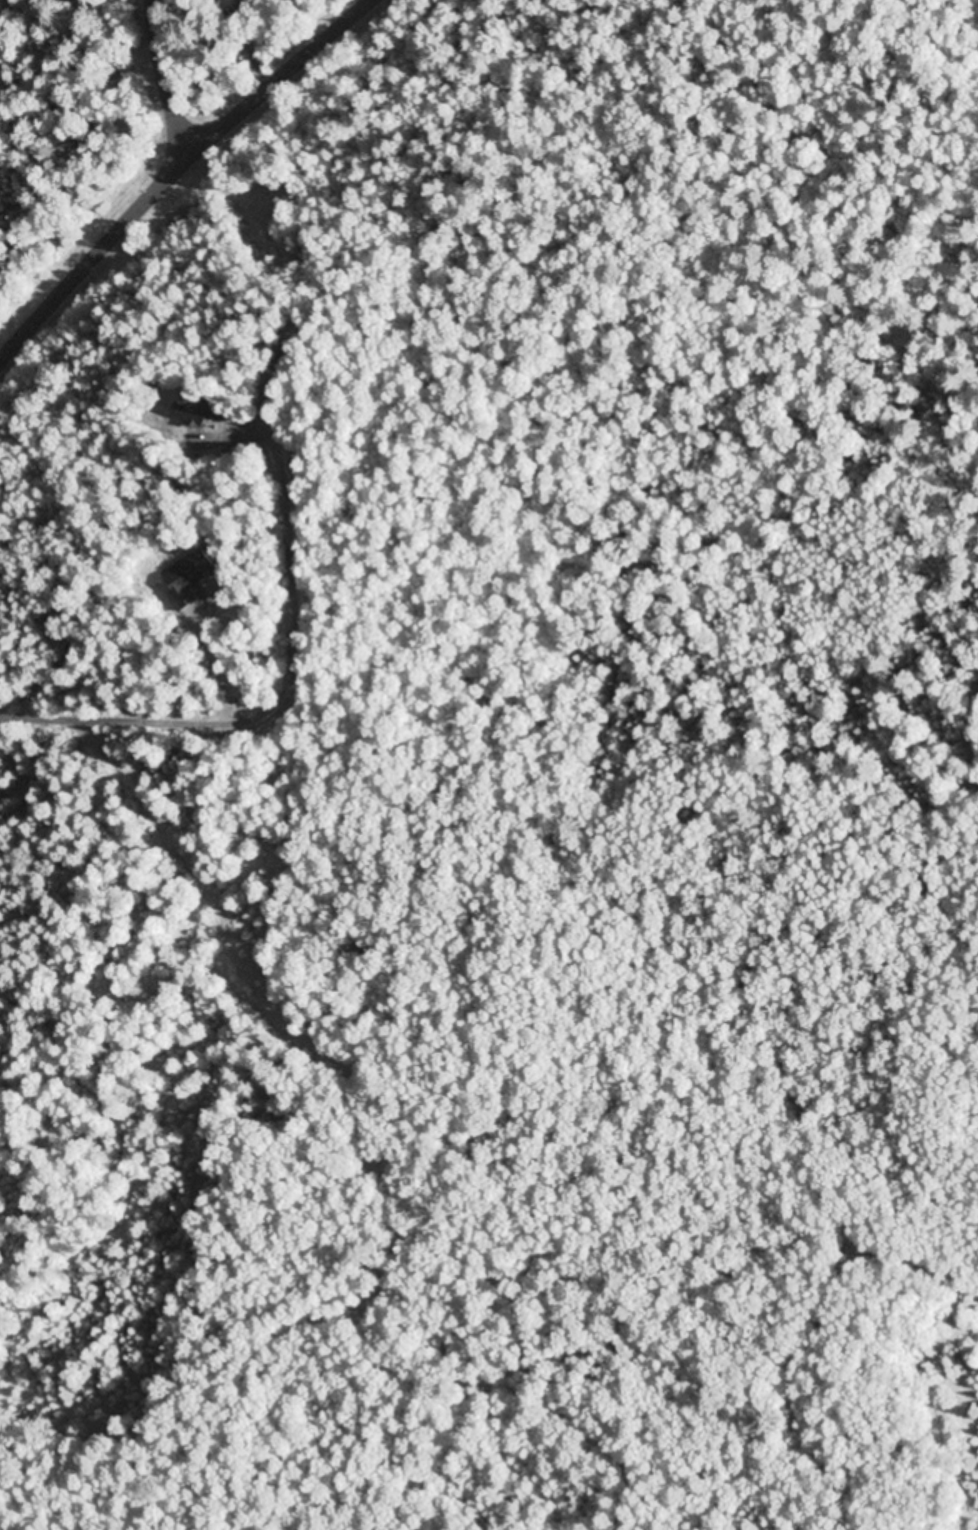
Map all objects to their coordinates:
road: (167, 78)
road: (172, 171)
building: (198, 412)
building: (188, 580)
road: (239, 600)

